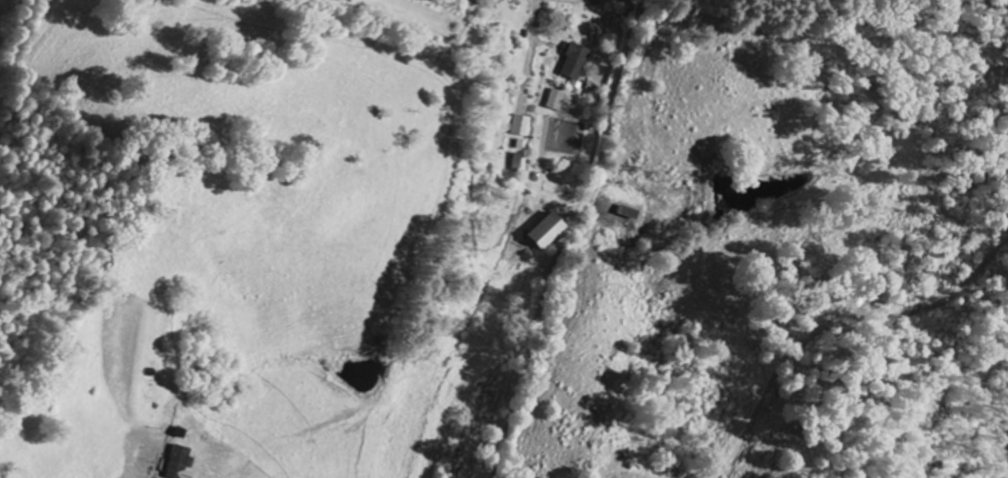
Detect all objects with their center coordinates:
building: (577, 64)
building: (559, 101)
building: (524, 126)
building: (552, 232)
road: (567, 237)
building: (182, 462)

